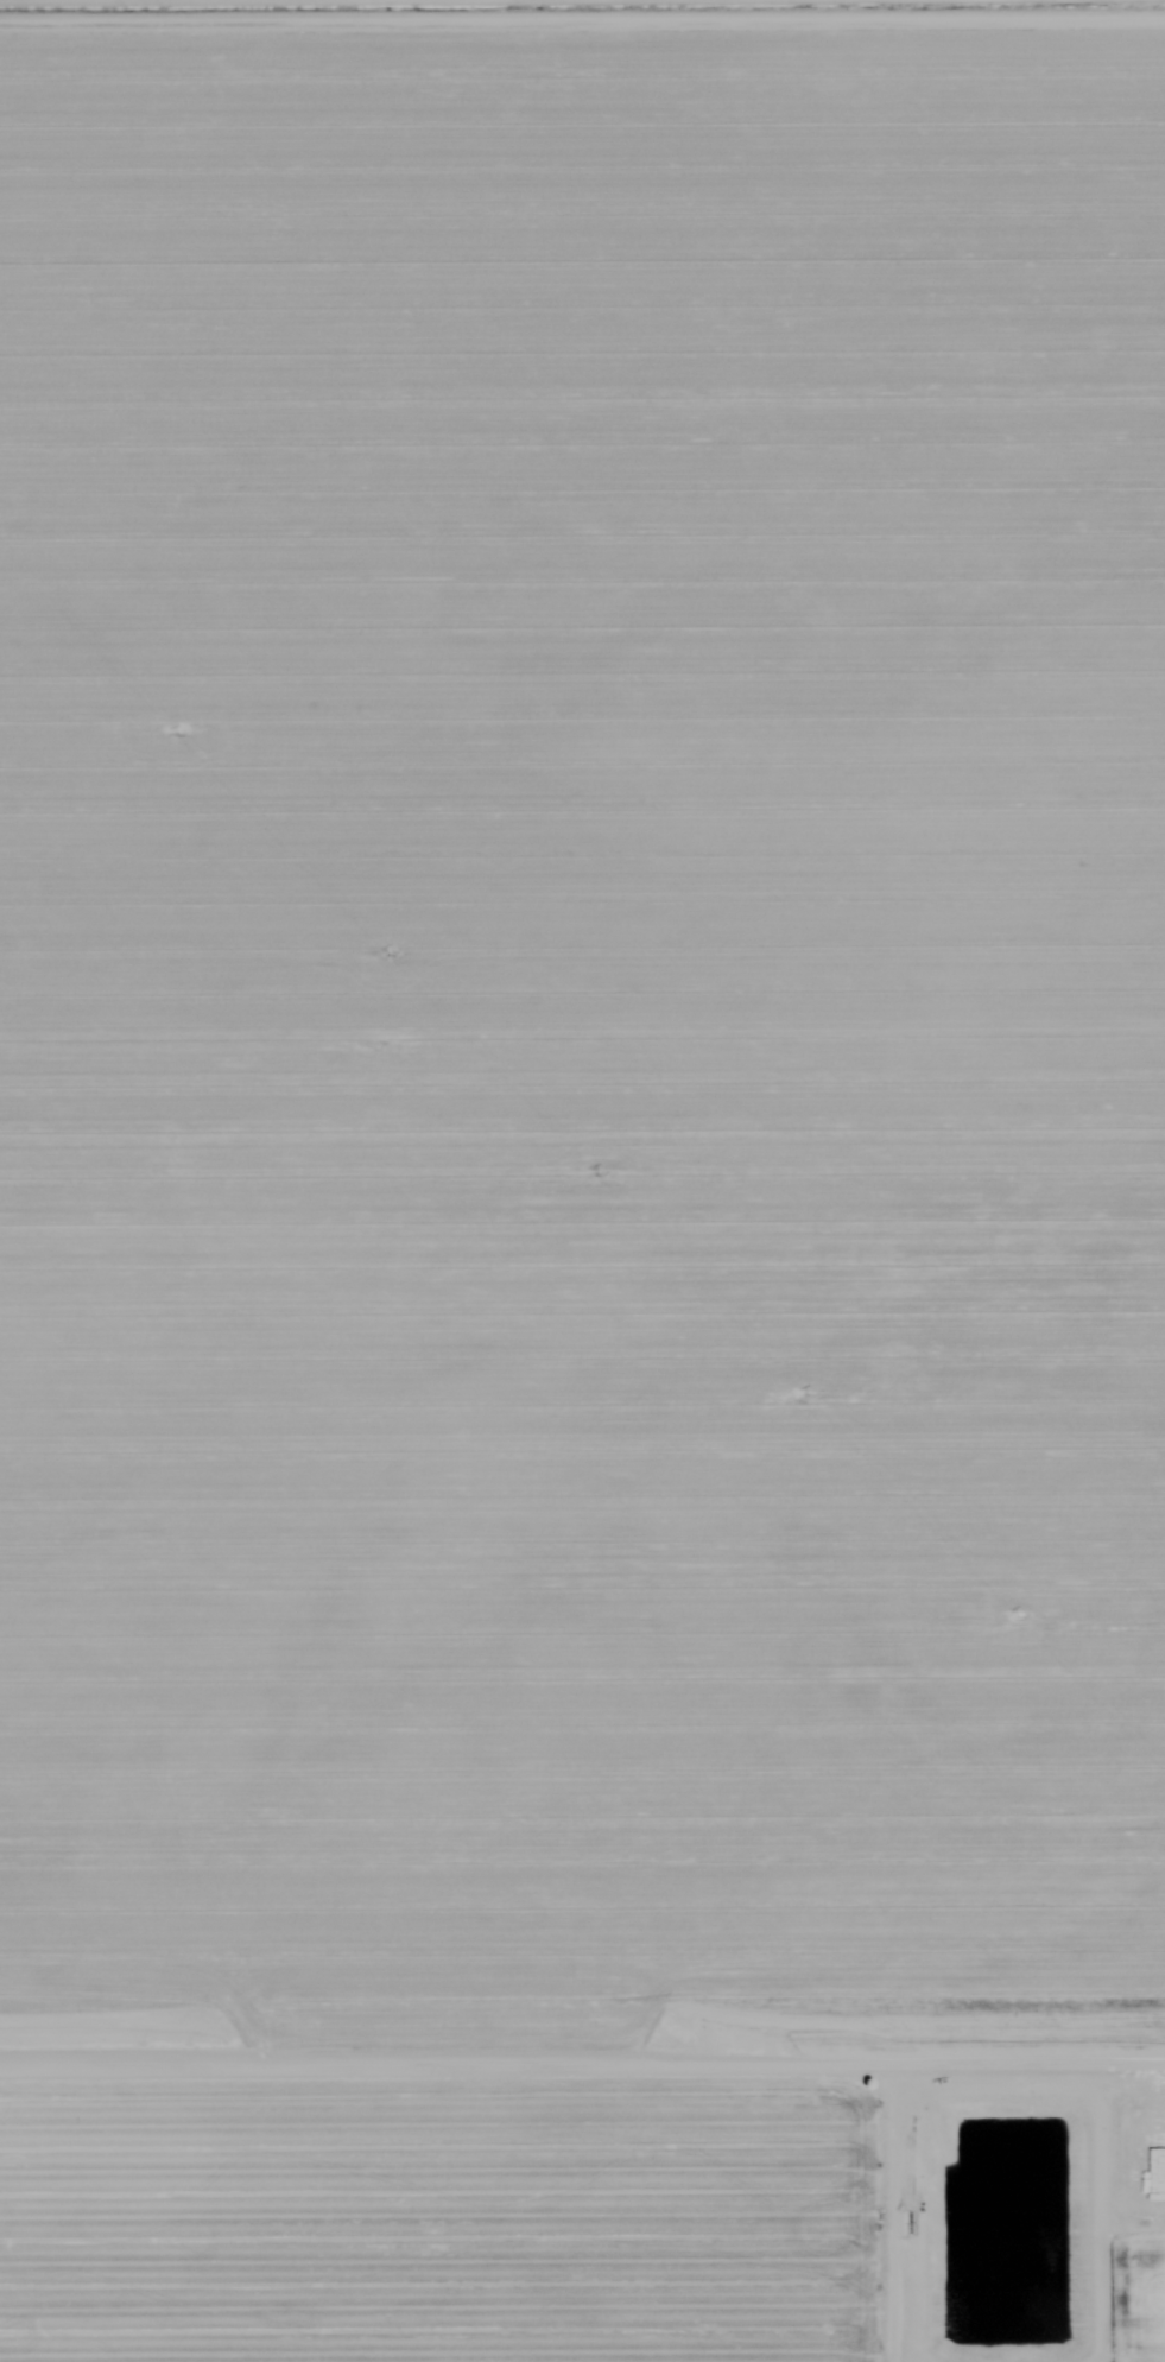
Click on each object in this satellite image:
road: (582, 2071)

